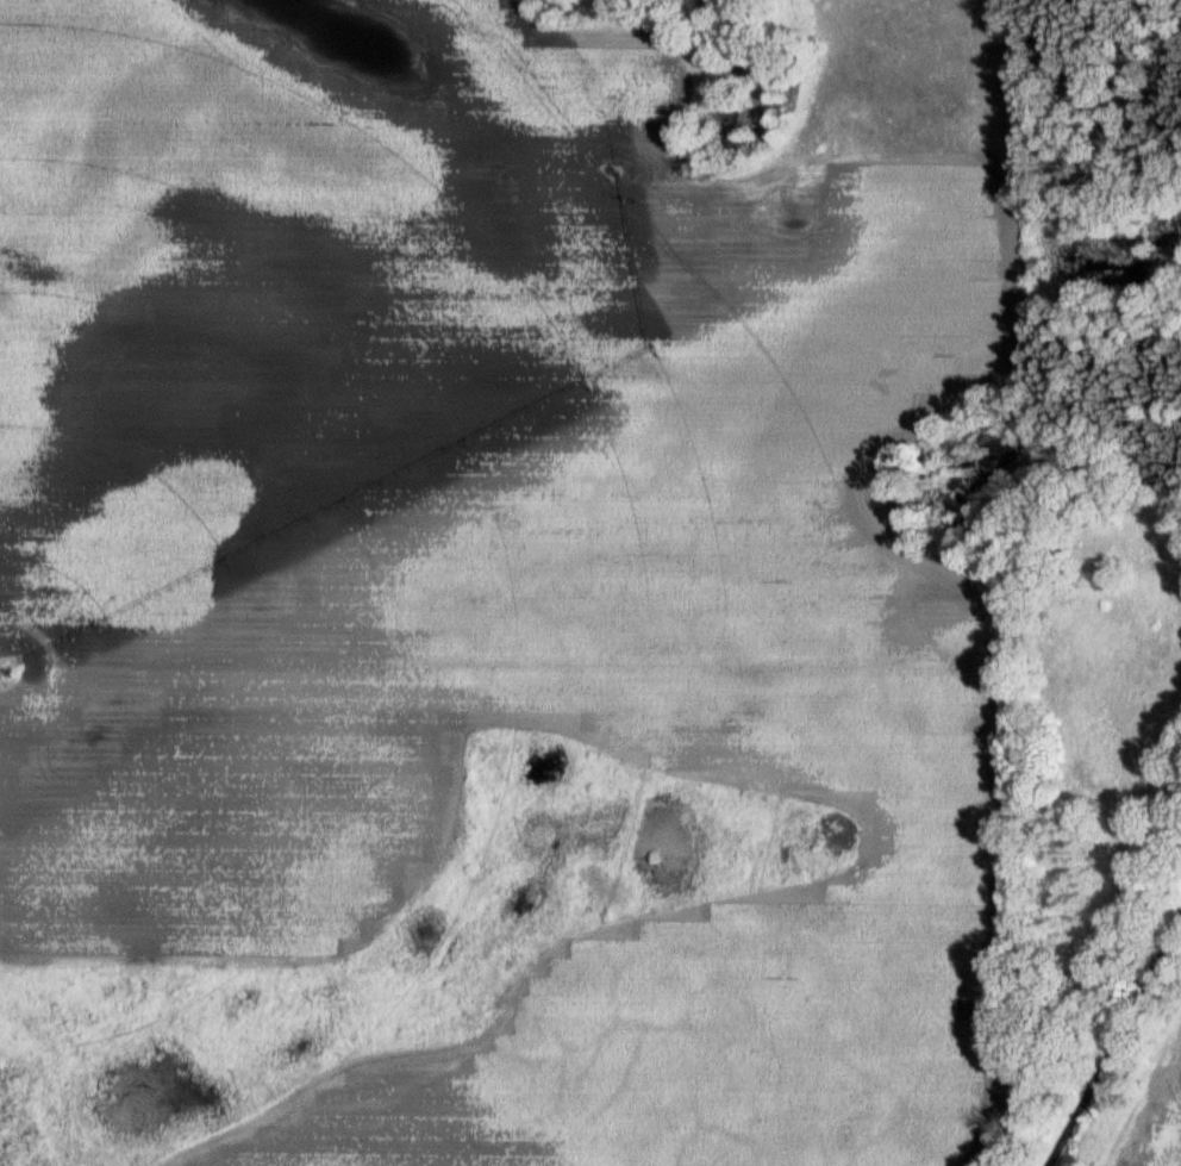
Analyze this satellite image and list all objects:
road: (1107, 1027)

